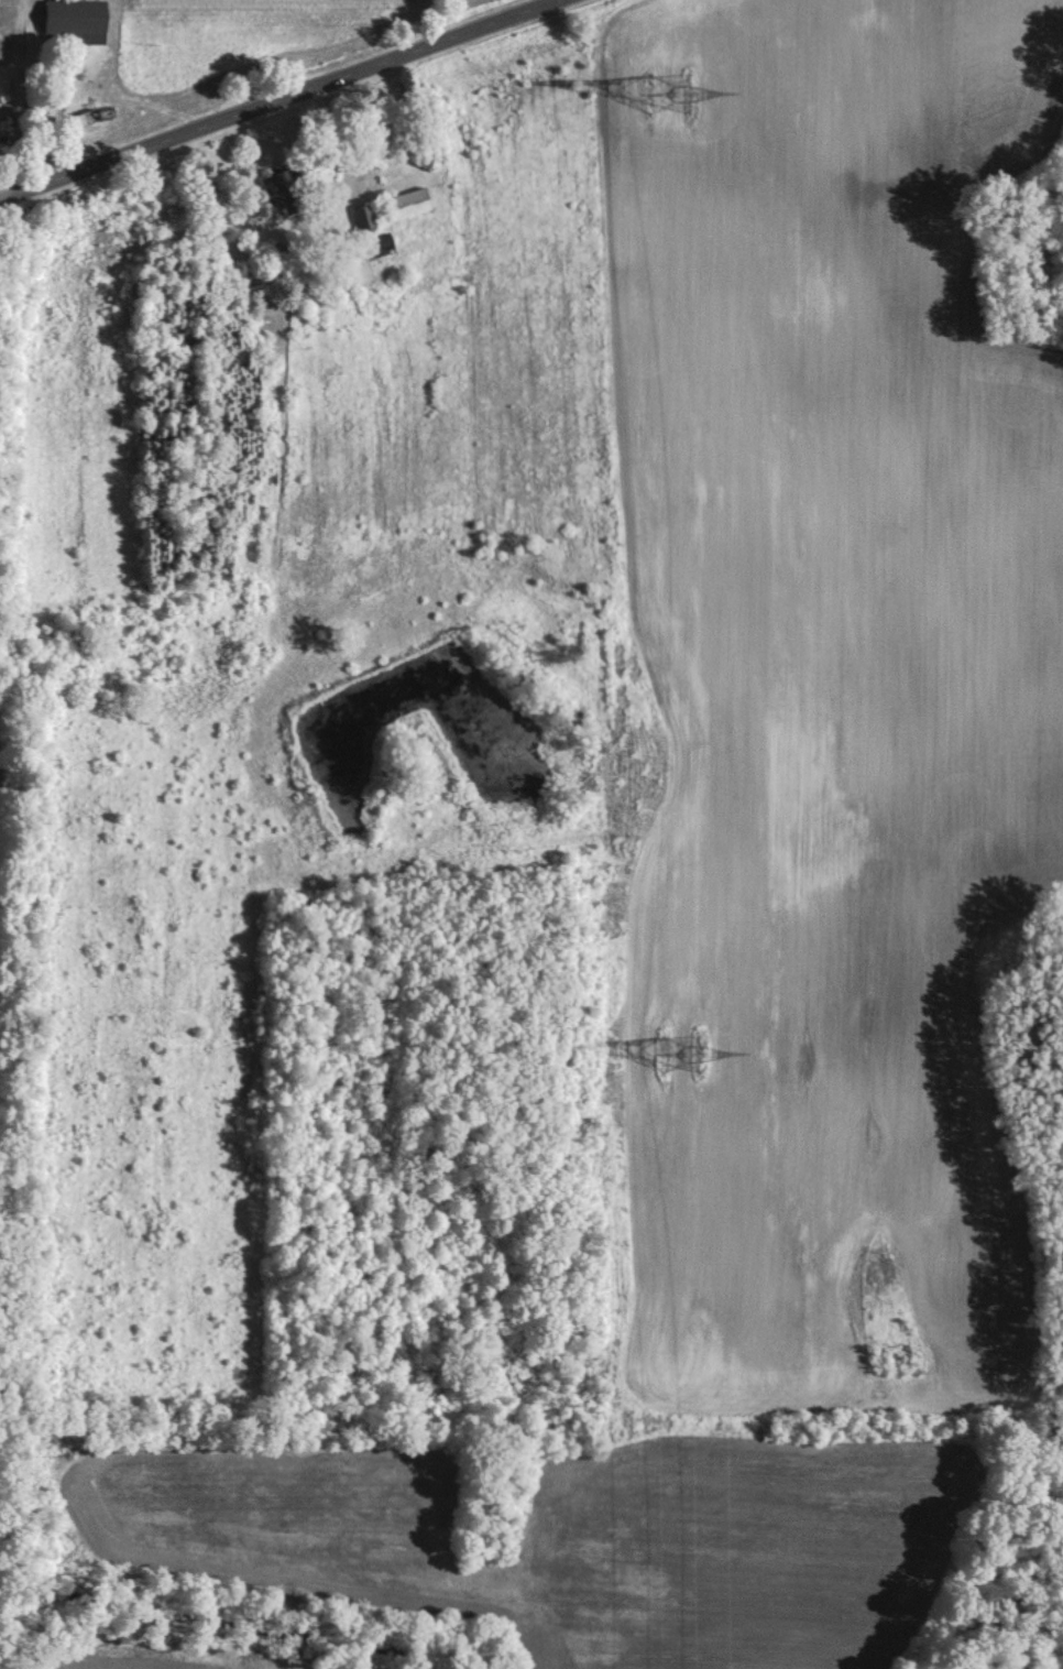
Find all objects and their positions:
building: (76, 15)
power tower: (670, 90)
road: (286, 101)
building: (88, 117)
building: (282, 190)
building: (409, 204)
building: (363, 218)
building: (380, 246)
power tower: (678, 1048)

